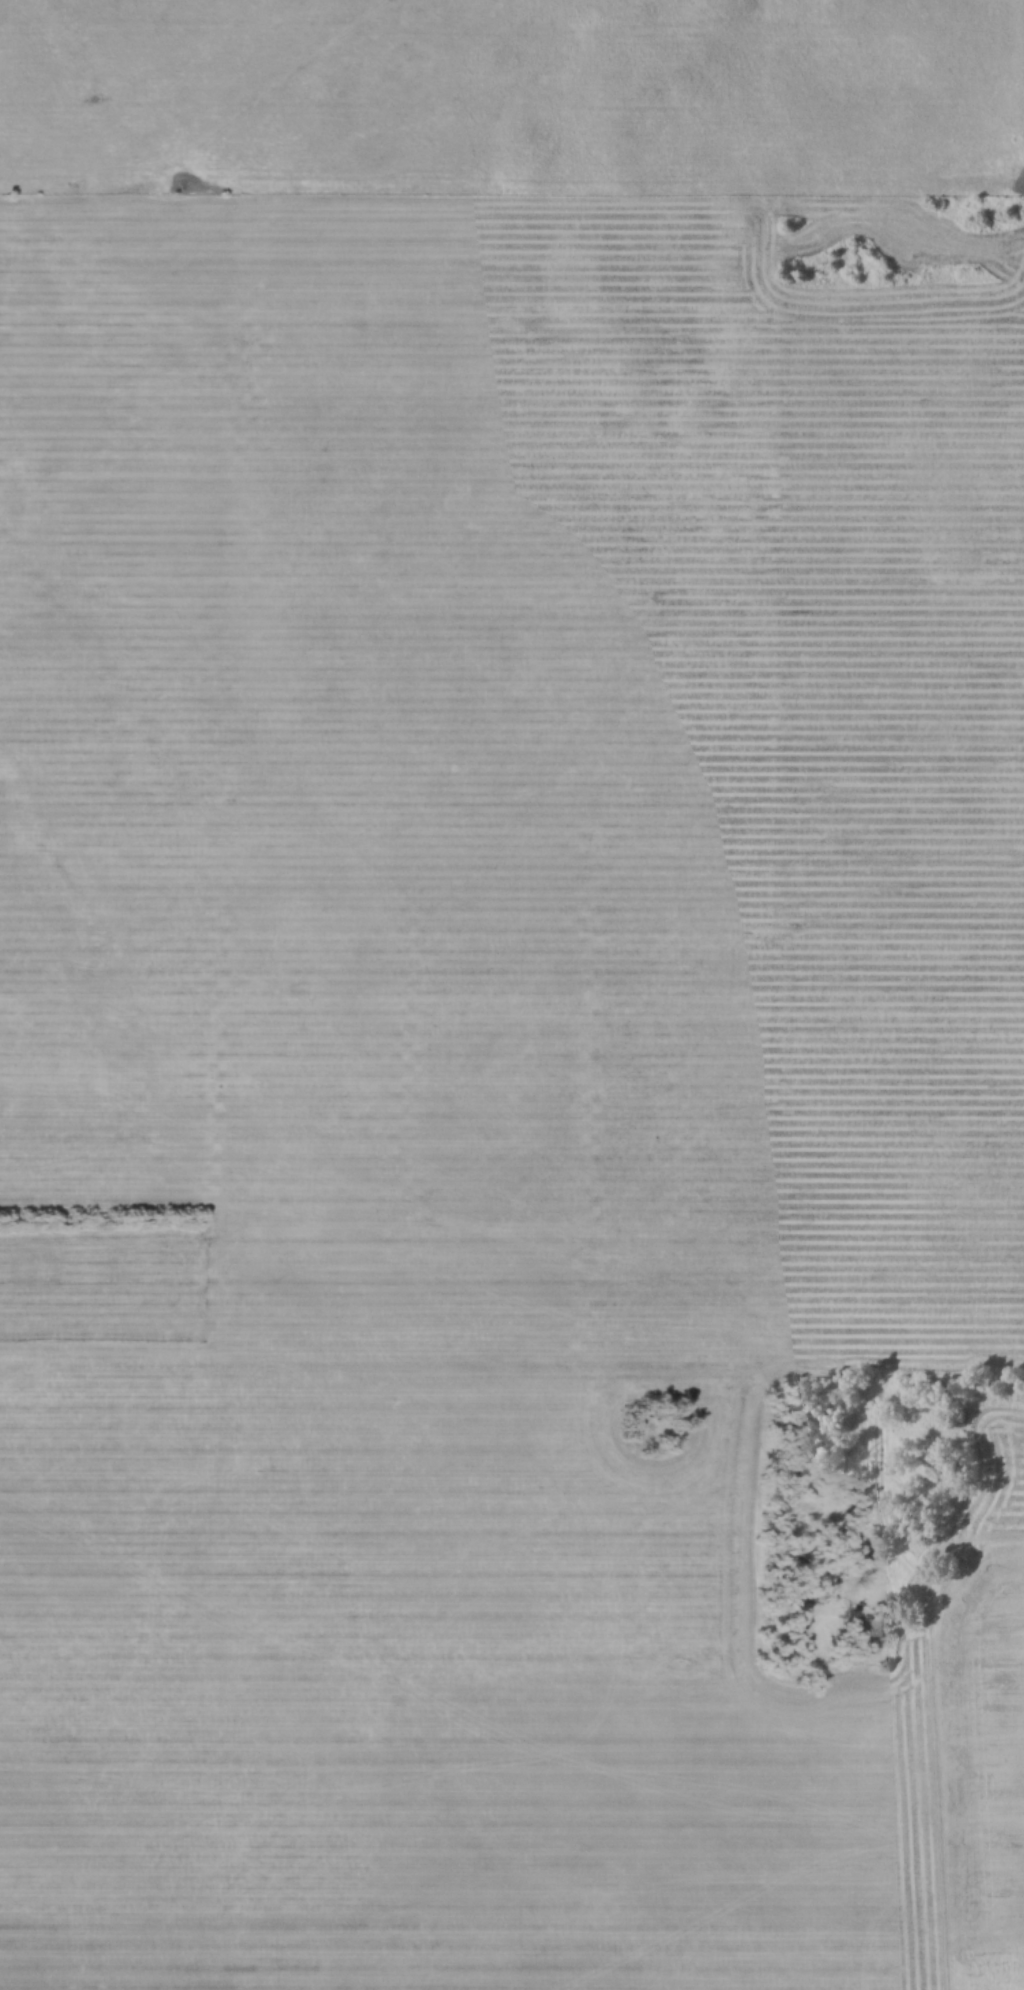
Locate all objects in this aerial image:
building: (961, 1420)
building: (866, 1627)

